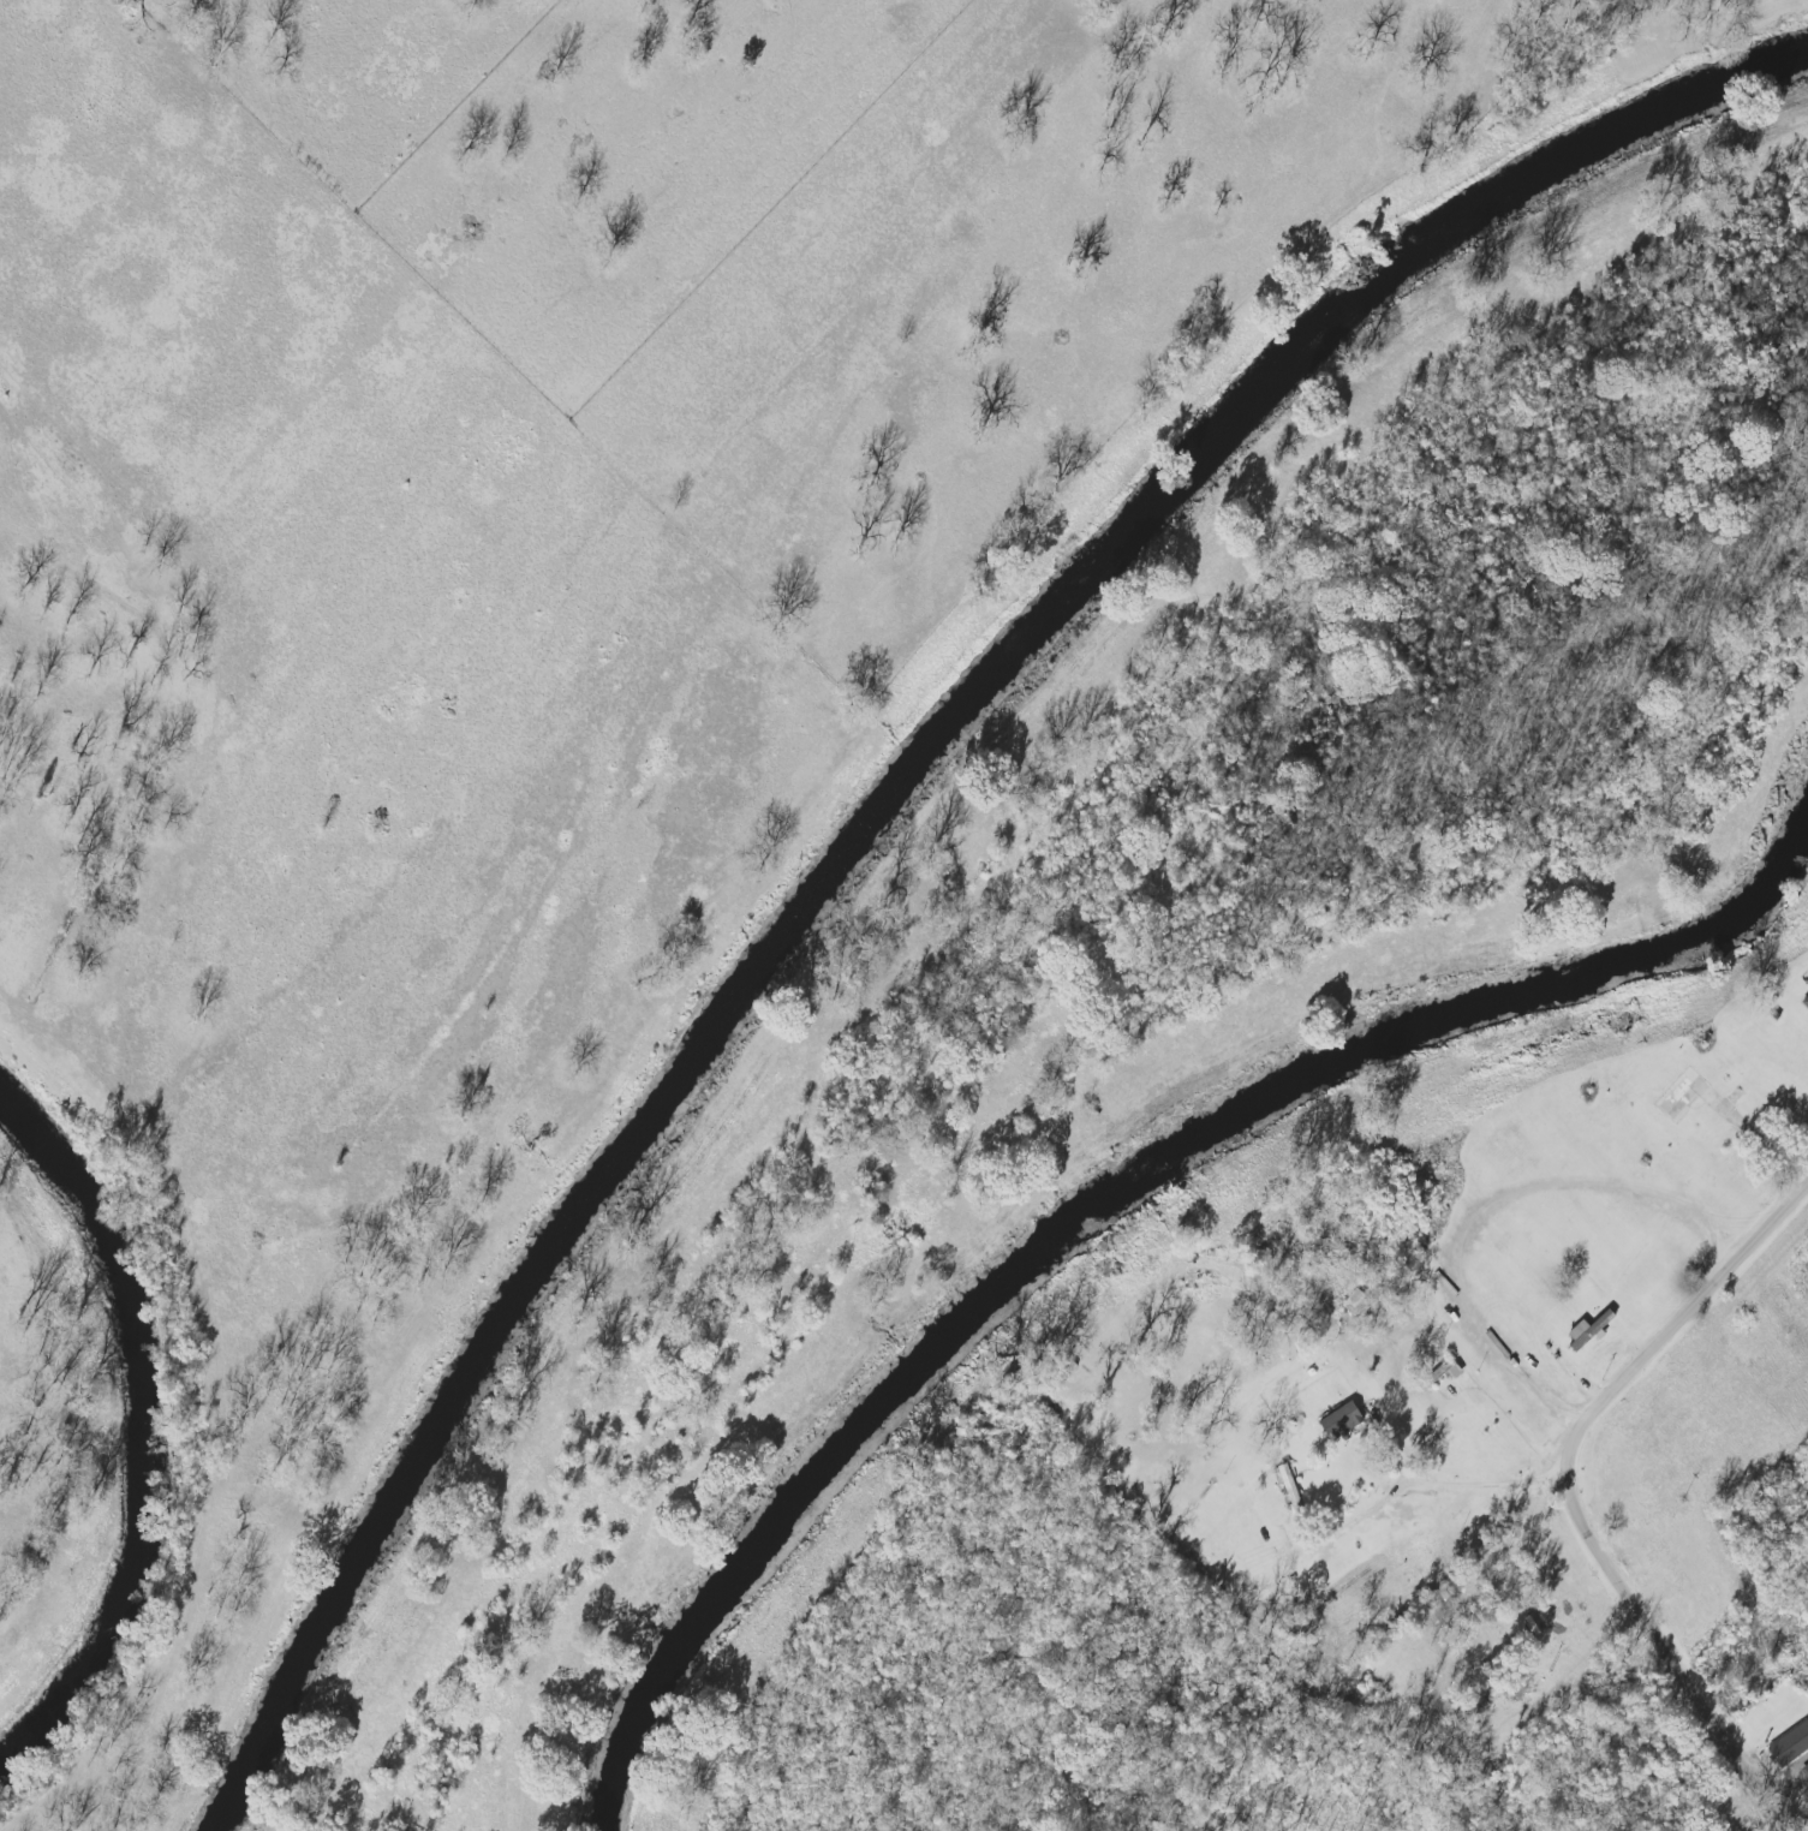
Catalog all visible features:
building: (1591, 1330)
building: (1452, 1370)
building: (1345, 1418)
building: (1293, 1491)
road: (1576, 1499)
building: (1789, 1743)
building: (1806, 1765)
building: (1806, 1770)

